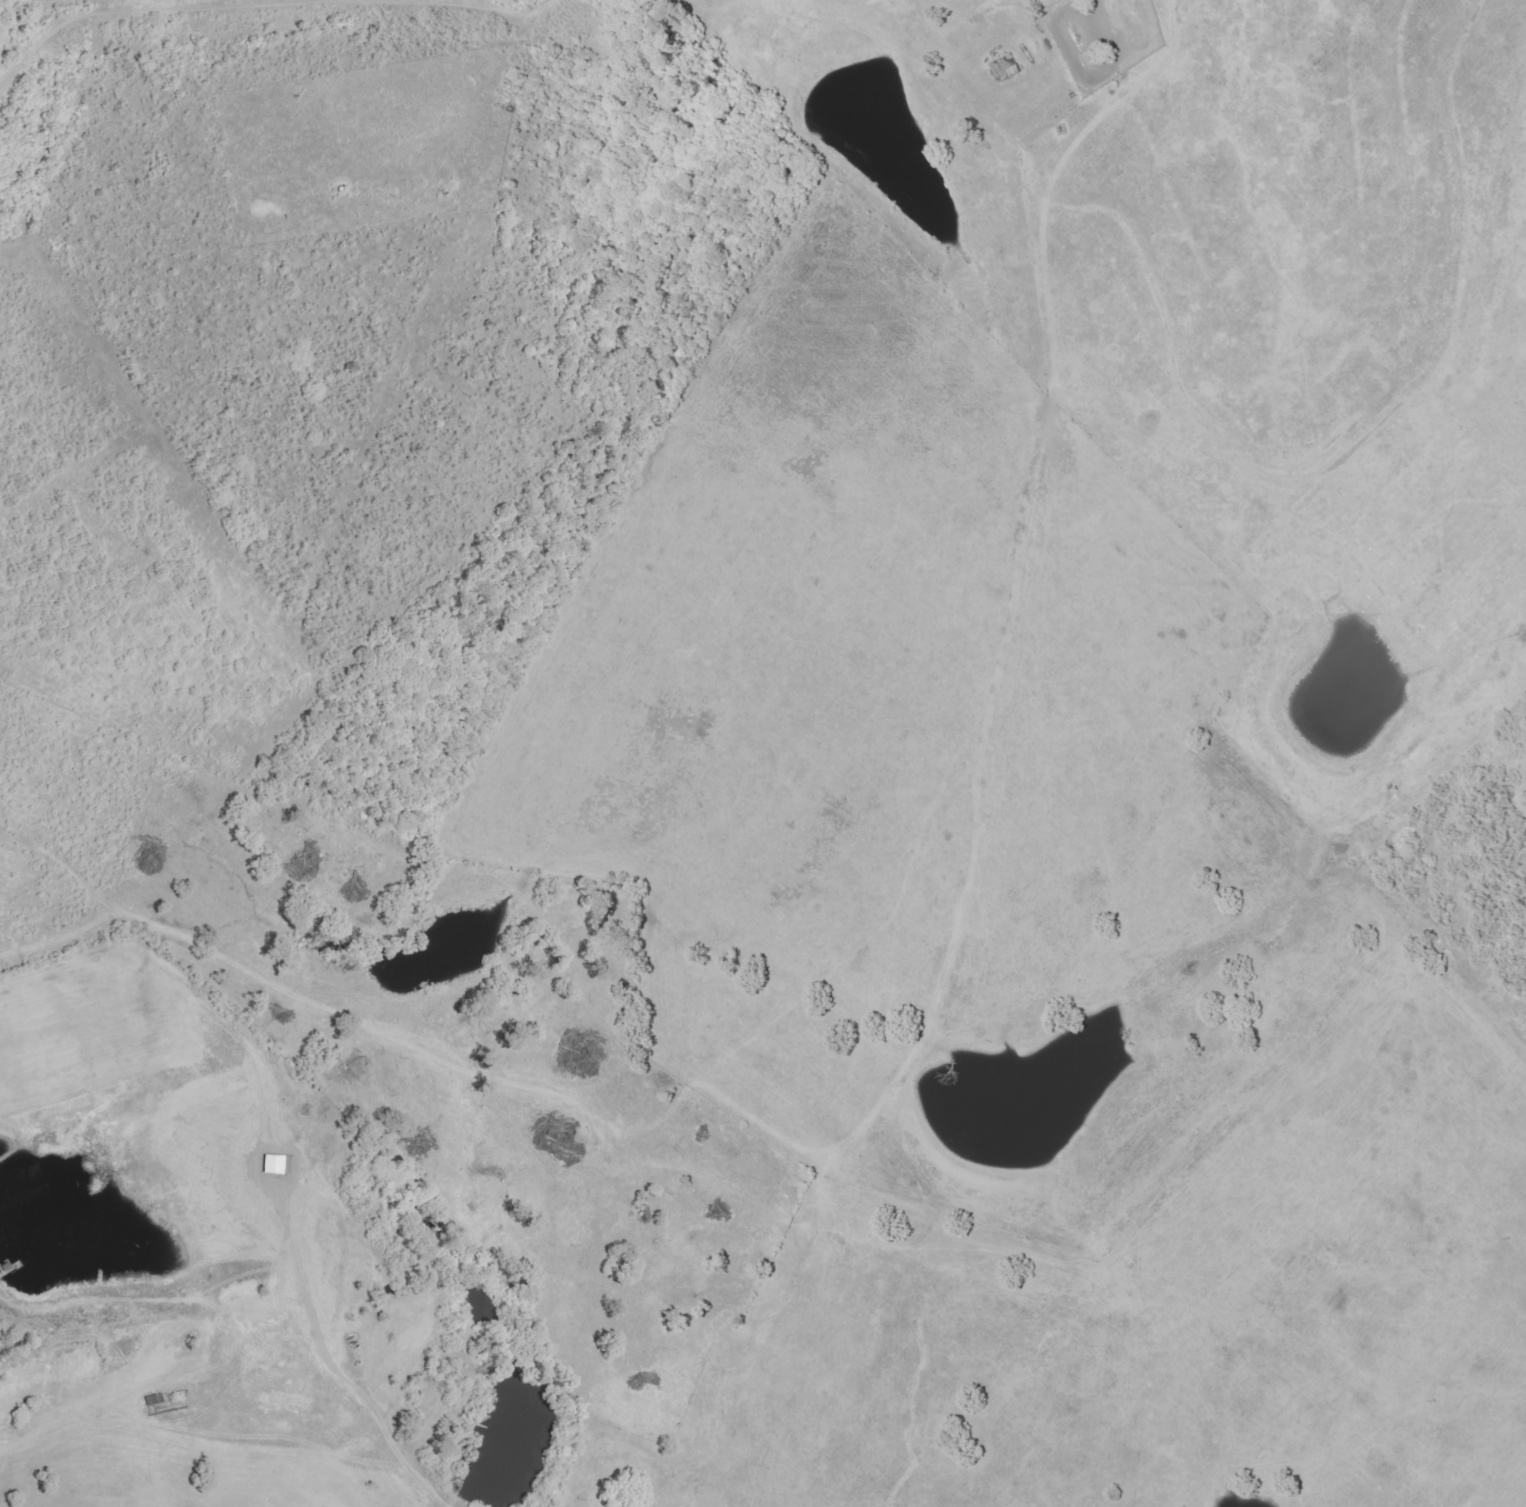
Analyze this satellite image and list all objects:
road: (1401, 1484)

